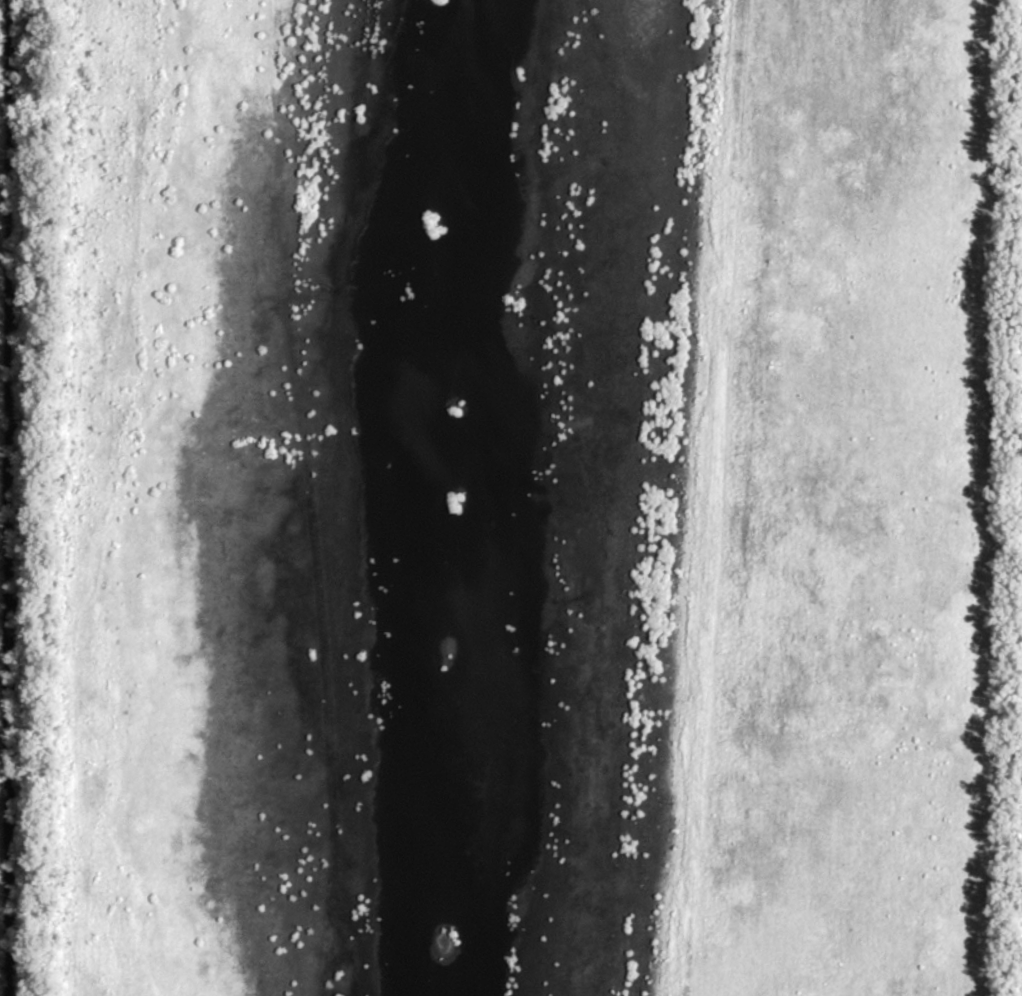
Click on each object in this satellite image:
road: (712, 498)

